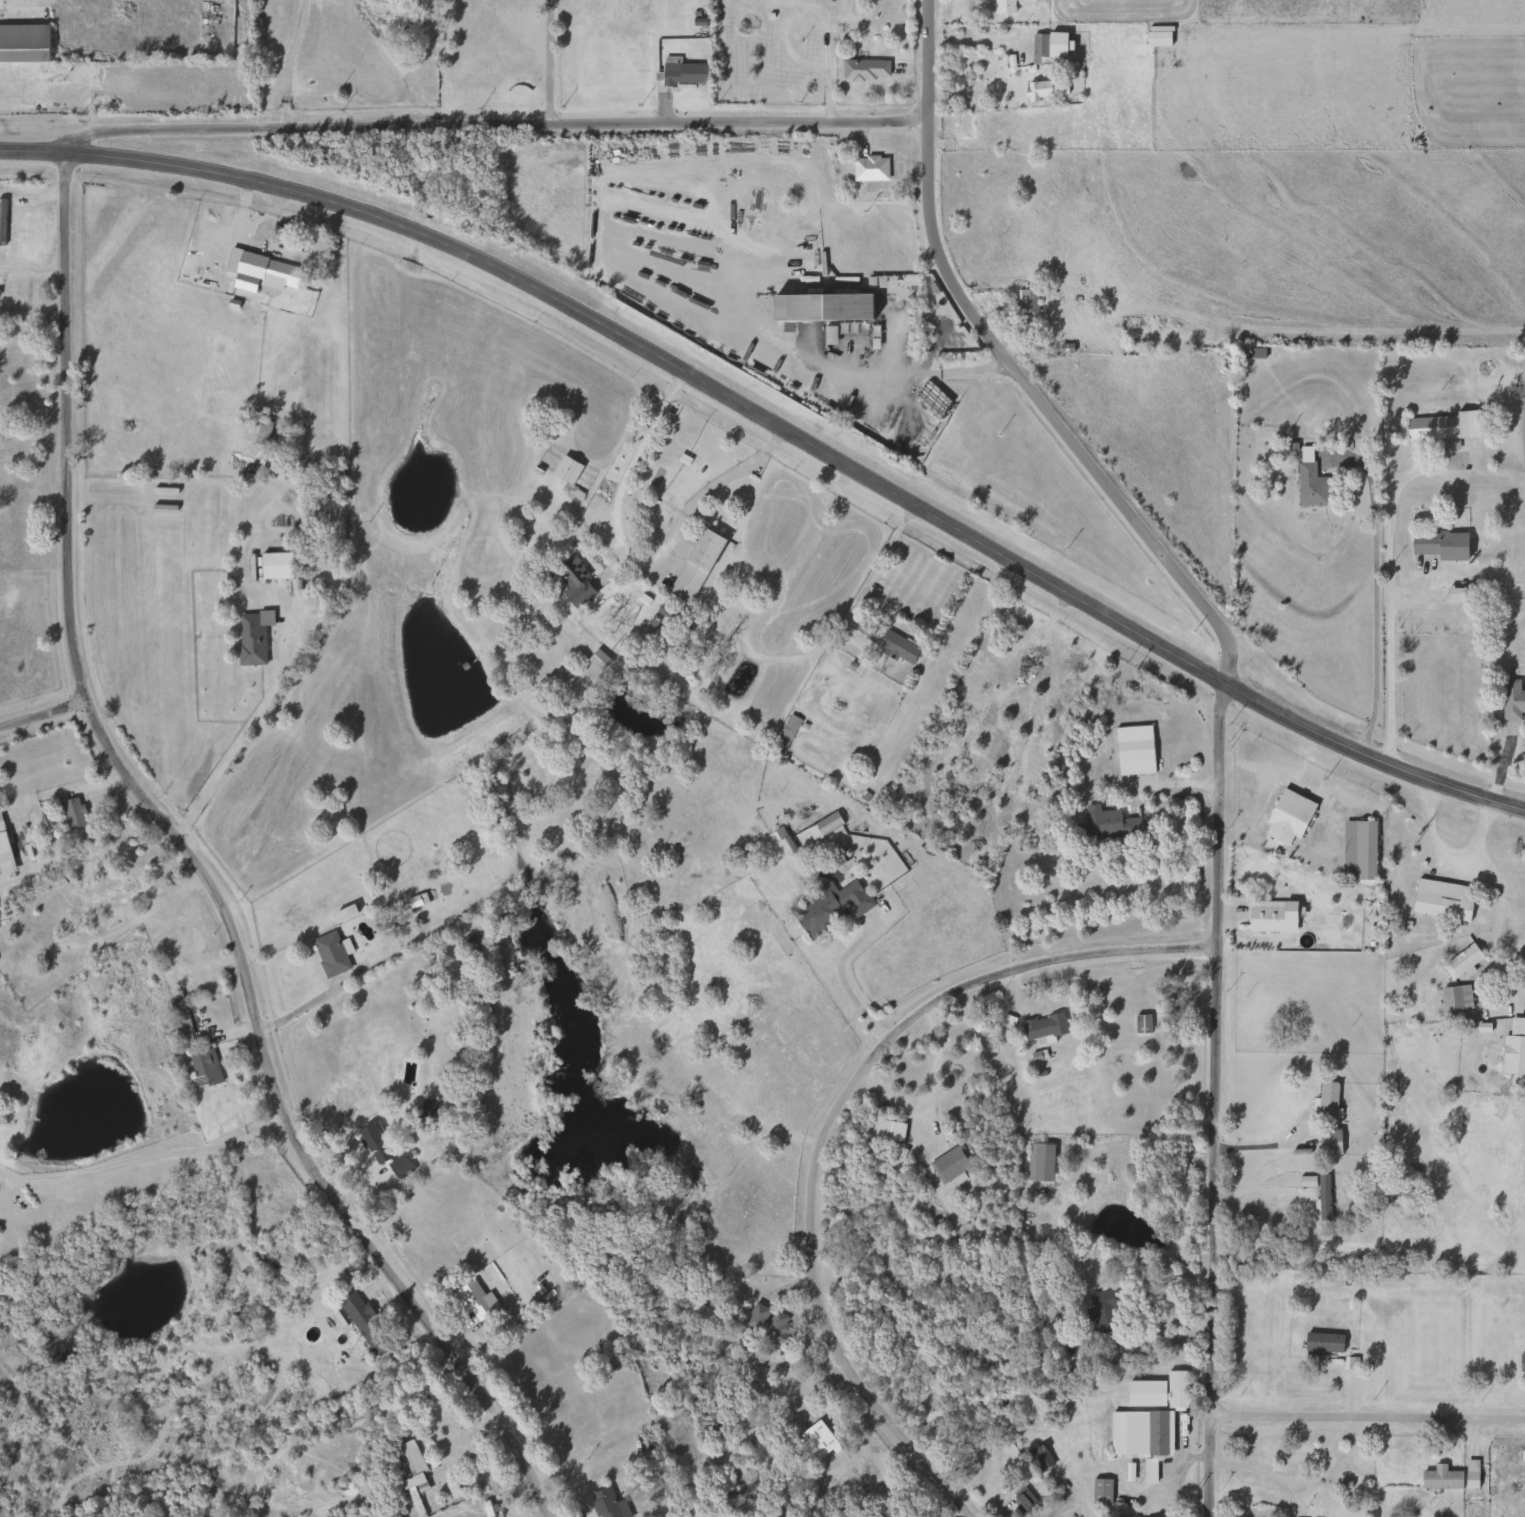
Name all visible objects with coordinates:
road: (16, 1)
building: (999, 6)
building: (1154, 38)
road: (969, 42)
building: (22, 43)
building: (1045, 48)
road: (923, 61)
road: (286, 62)
road: (546, 62)
building: (861, 68)
building: (680, 73)
building: (1043, 89)
road: (488, 125)
building: (867, 168)
building: (0, 221)
building: (262, 275)
building: (1027, 301)
building: (1126, 322)
building: (933, 334)
building: (1249, 353)
road: (927, 372)
building: (1438, 427)
road: (780, 428)
building: (255, 432)
building: (563, 469)
building: (1308, 486)
building: (1436, 546)
road: (632, 558)
road: (879, 558)
building: (318, 562)
building: (690, 564)
building: (272, 565)
building: (572, 583)
road: (1373, 591)
road: (1386, 601)
building: (247, 641)
building: (888, 645)
building: (595, 660)
building: (1511, 701)
road: (41, 715)
building: (782, 735)
road: (235, 741)
building: (1131, 750)
road: (1217, 769)
building: (70, 813)
building: (1284, 821)
building: (1104, 825)
building: (784, 846)
building: (1356, 849)
road: (1446, 855)
building: (3, 856)
road: (192, 866)
building: (1440, 900)
building: (828, 907)
building: (1269, 916)
road: (1496, 920)
building: (327, 955)
building: (1459, 961)
building: (1453, 998)
road: (852, 999)
building: (176, 1018)
building: (1139, 1024)
building: (1042, 1028)
building: (1513, 1048)
building: (202, 1068)
building: (1325, 1101)
building: (422, 1109)
road: (932, 1110)
road: (823, 1118)
road: (1264, 1143)
building: (1325, 1143)
building: (372, 1144)
road: (143, 1157)
building: (1036, 1163)
building: (948, 1164)
building: (397, 1168)
building: (538, 1278)
building: (475, 1300)
building: (1103, 1310)
building: (234, 1319)
building: (362, 1323)
building: (1319, 1345)
building: (1520, 1364)
building: (1173, 1389)
building: (1143, 1394)
road: (1364, 1416)
building: (1136, 1433)
building: (816, 1440)
building: (1521, 1456)
building: (1038, 1457)
building: (1147, 1471)
road: (1259, 1471)
building: (410, 1475)
building: (1438, 1478)
building: (667, 1490)
building: (1099, 1491)
building: (1021, 1501)
building: (603, 1503)

